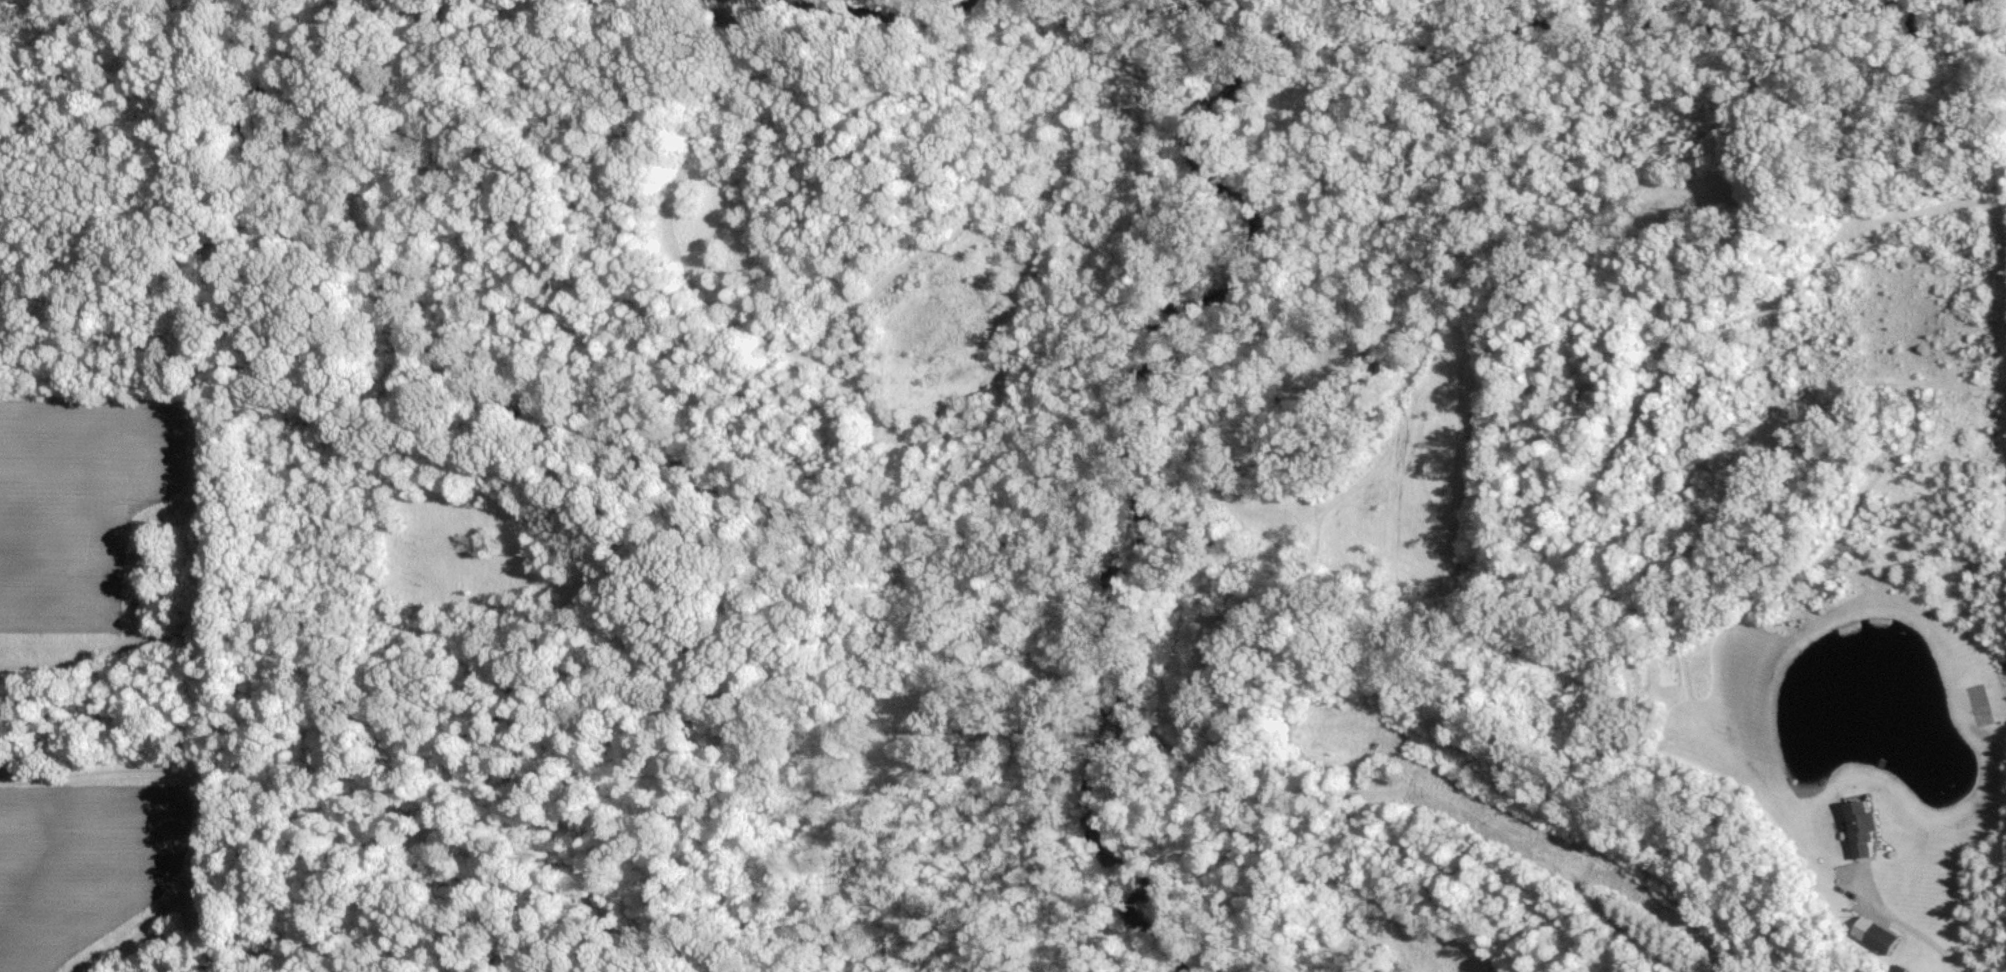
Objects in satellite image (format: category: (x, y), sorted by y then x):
building: (1866, 828)
road: (1914, 931)

